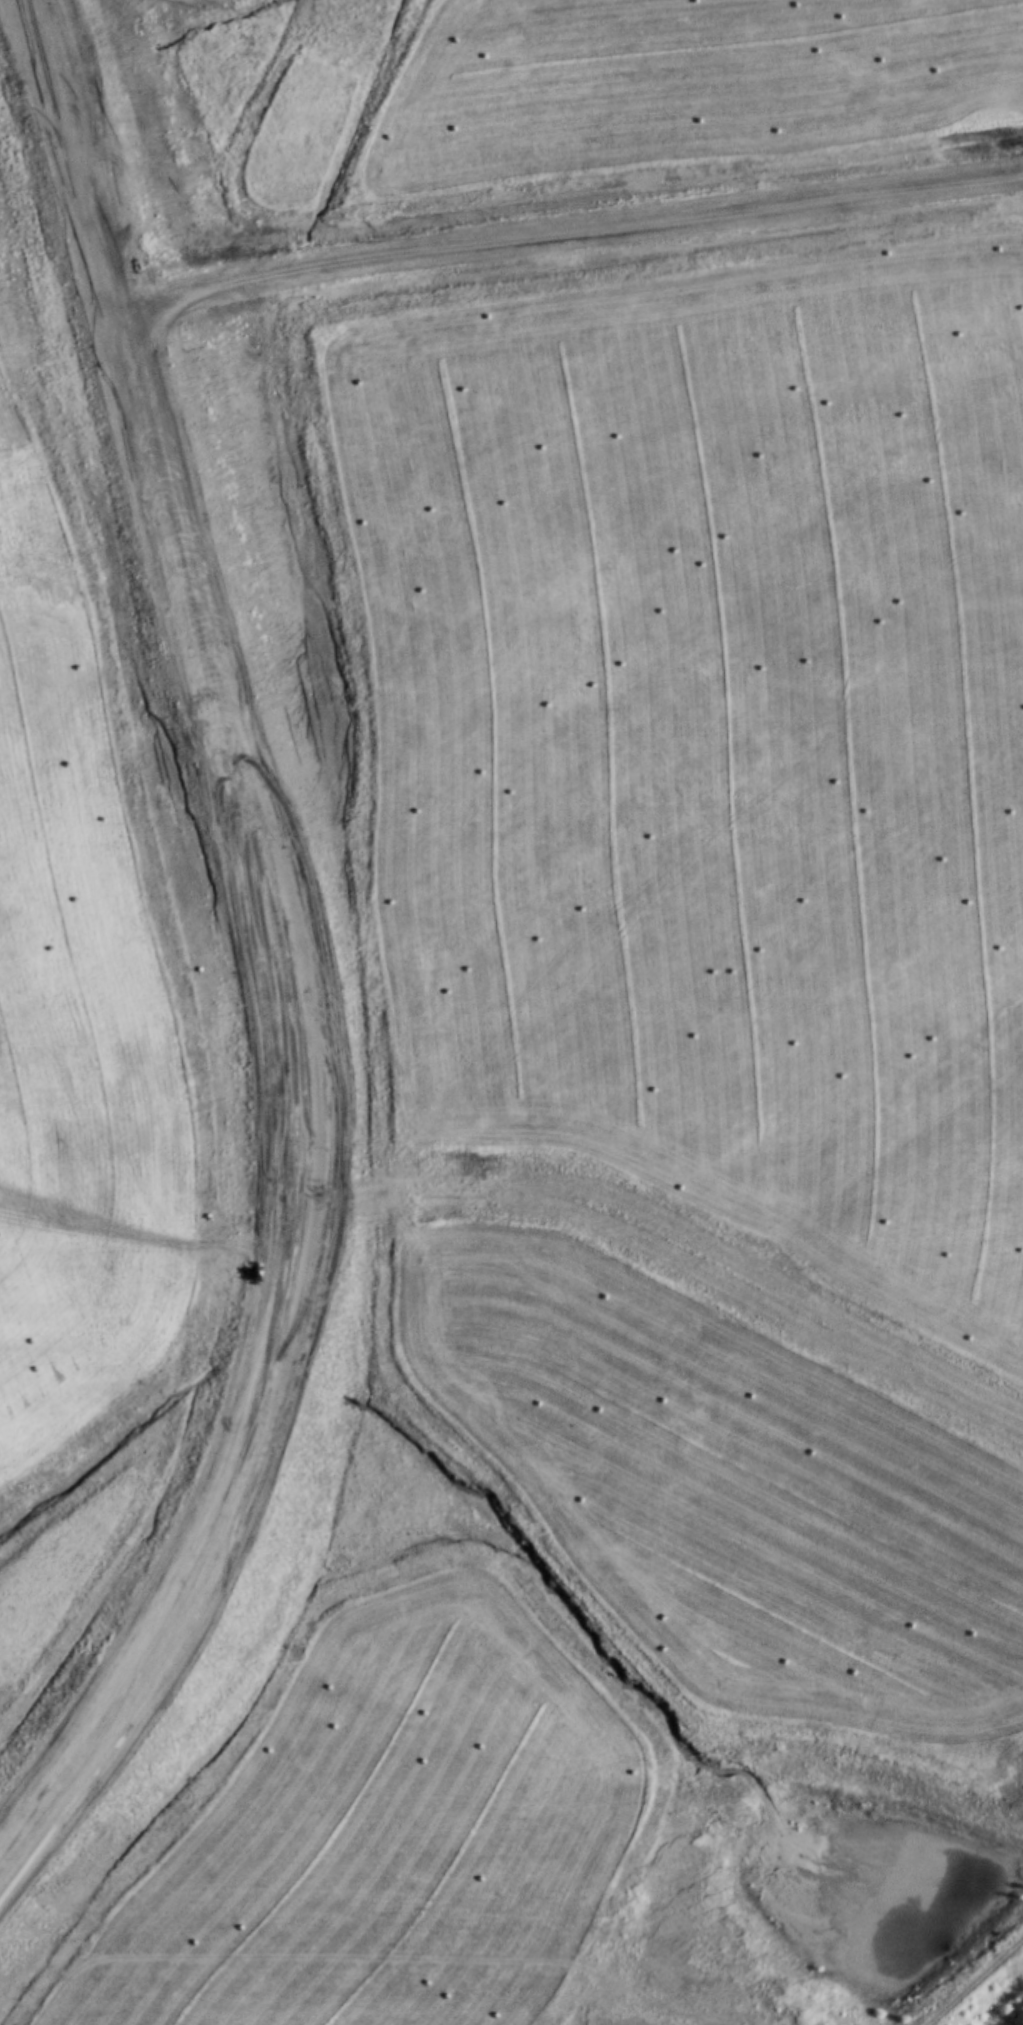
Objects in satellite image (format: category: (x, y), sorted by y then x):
building: (403, 1624)
building: (612, 1774)
building: (477, 1777)
building: (464, 1824)
building: (628, 1858)
building: (630, 1890)

